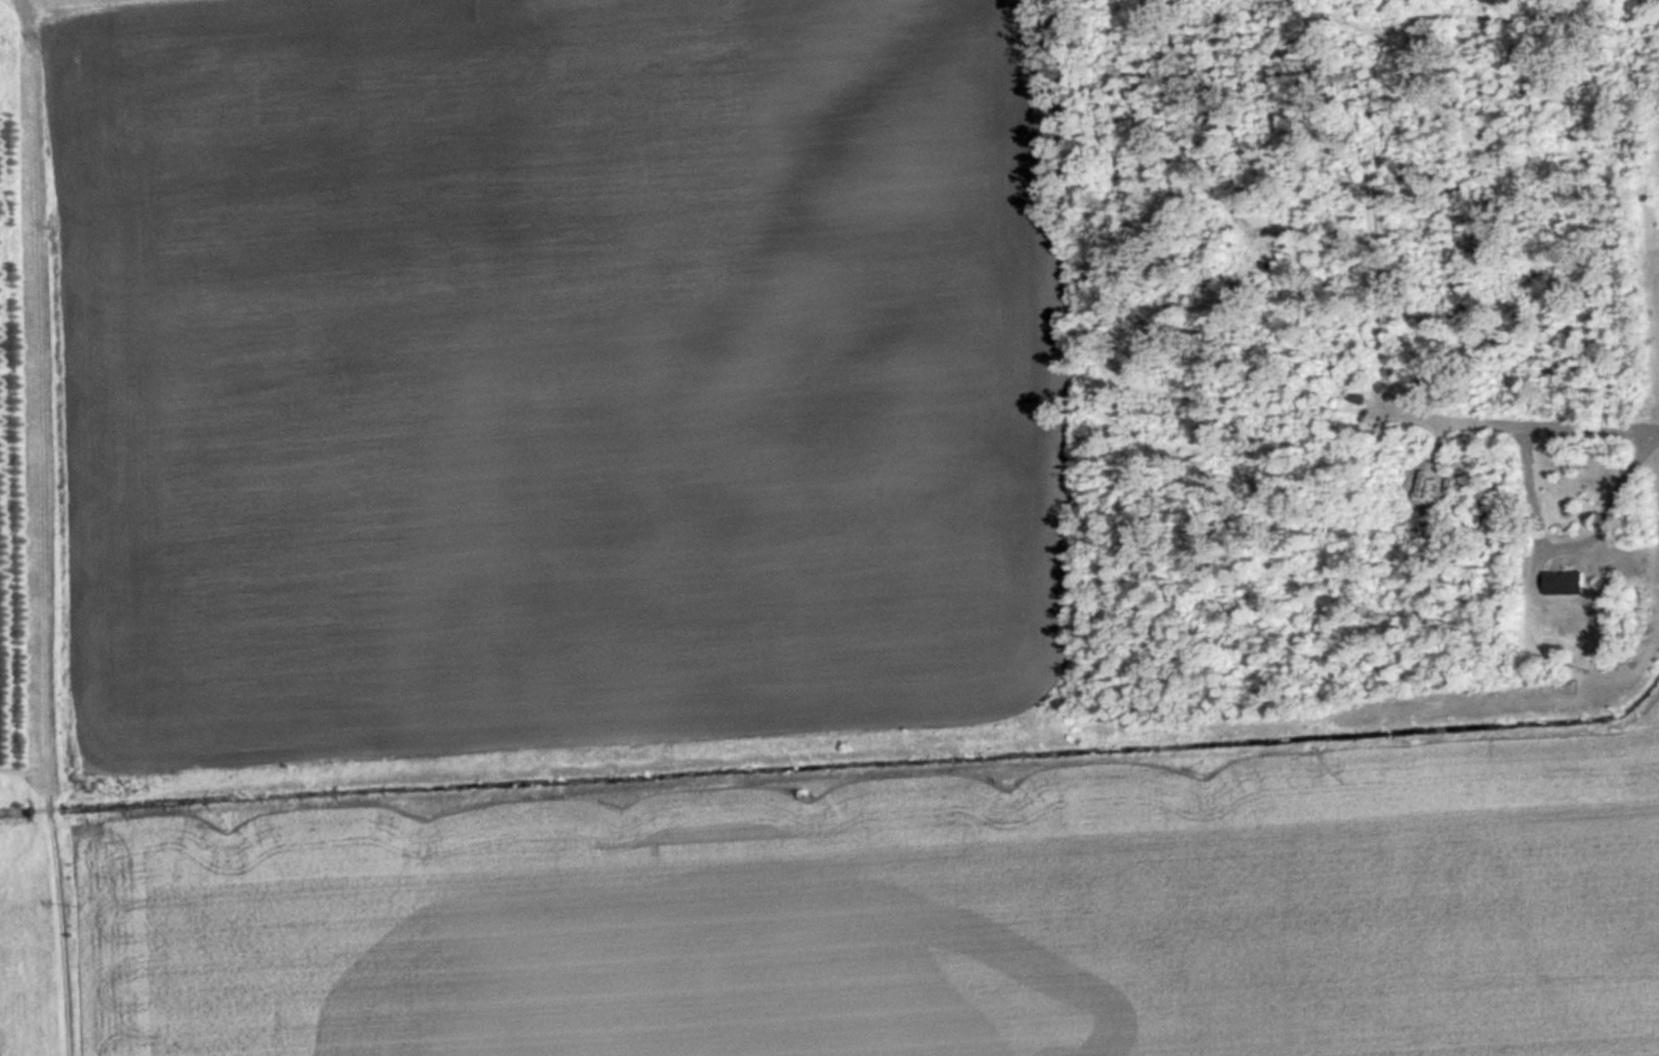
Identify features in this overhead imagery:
building: (1567, 583)

